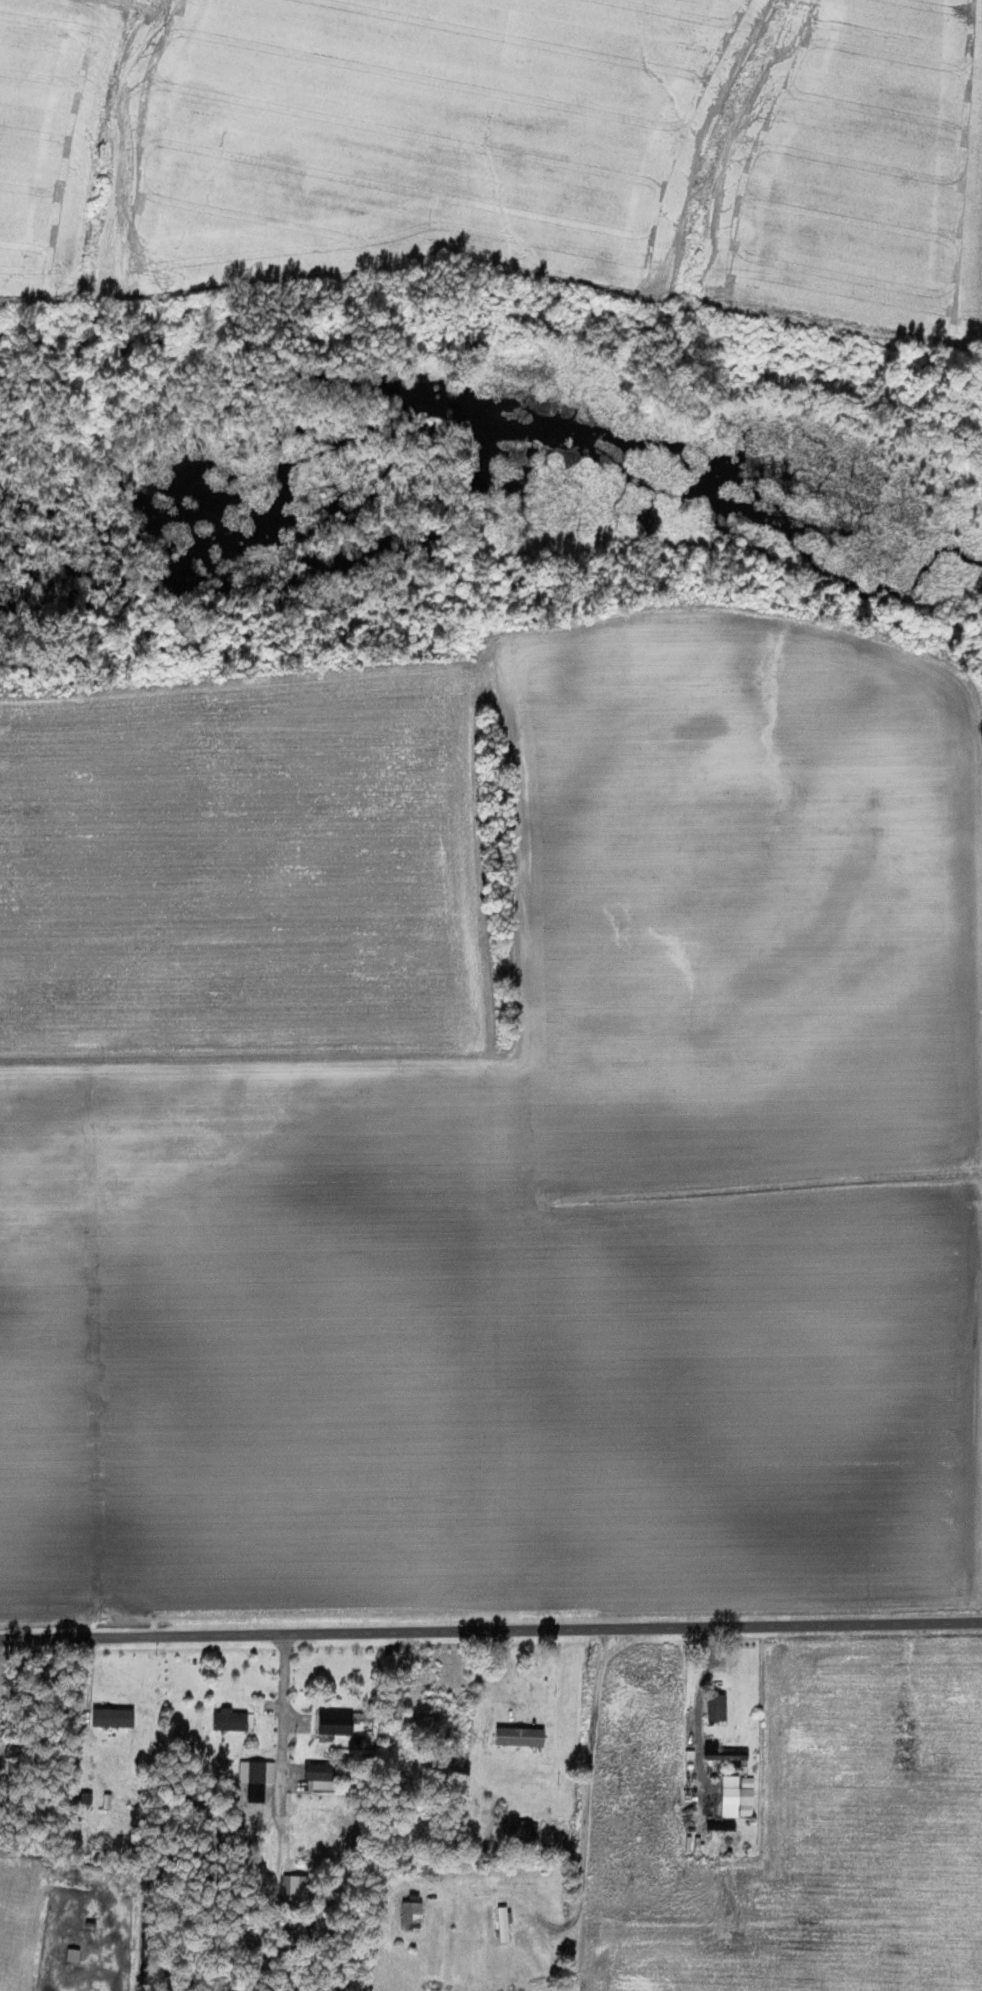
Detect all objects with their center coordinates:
road: (491, 1632)
building: (718, 1708)
building: (114, 1718)
building: (231, 1720)
building: (337, 1723)
building: (522, 1737)
building: (322, 1776)
building: (747, 1797)
building: (525, 1828)
building: (296, 1890)
building: (412, 1916)
building: (504, 1923)

